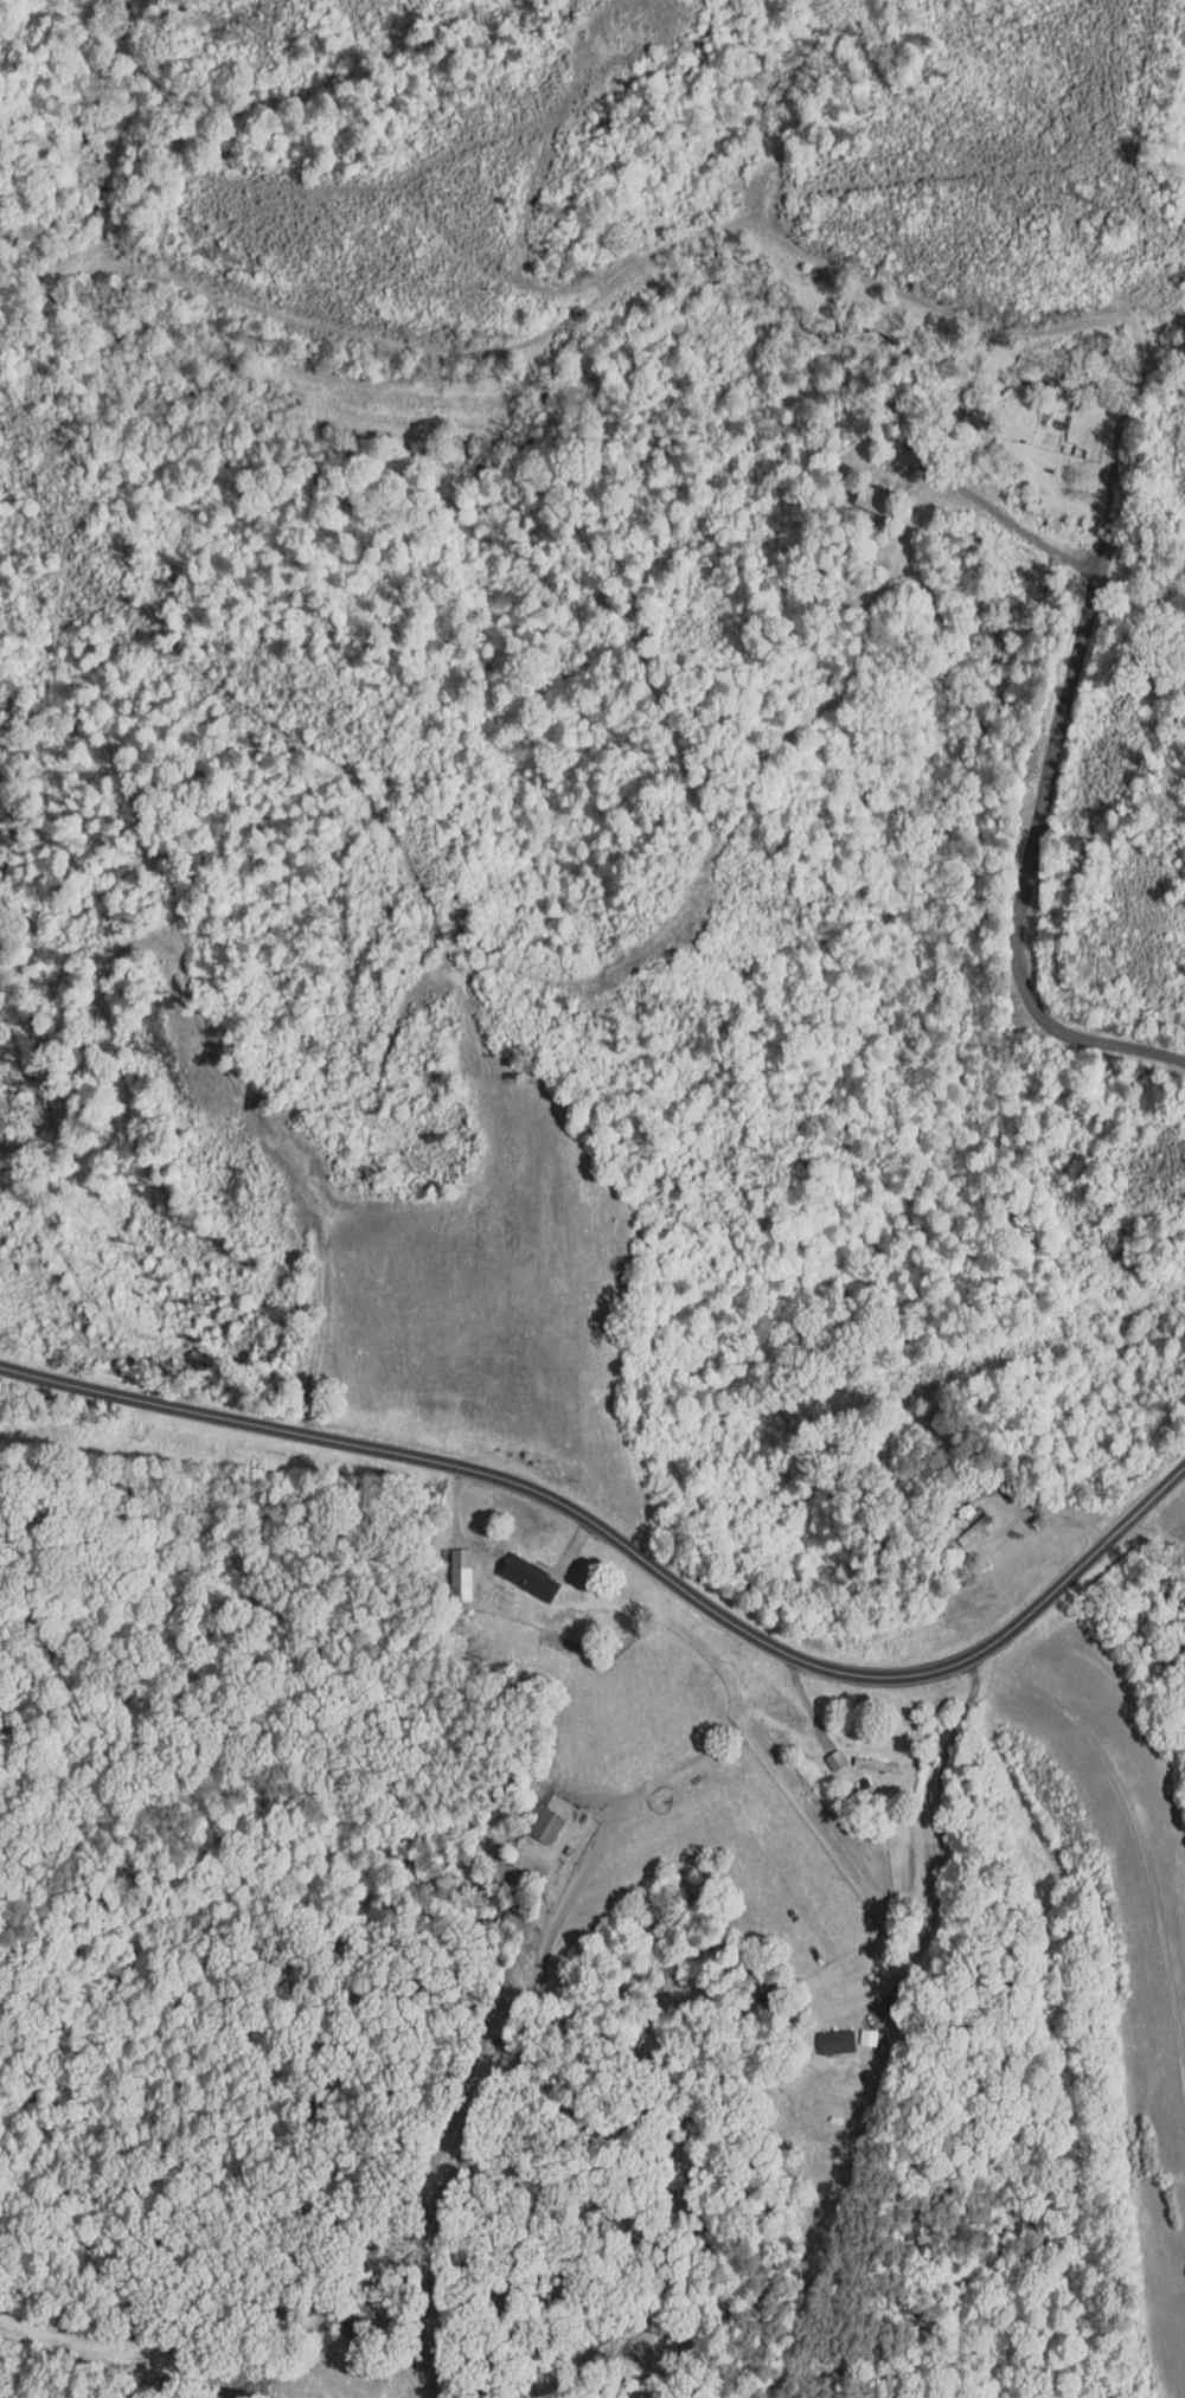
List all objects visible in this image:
building: (858, 492)
road: (997, 513)
road: (1050, 745)
road: (9, 1410)
road: (1049, 1513)
road: (634, 1546)
building: (513, 1567)
building: (531, 1815)
road: (941, 1841)
building: (853, 2030)
building: (821, 2033)
road: (405, 2379)

